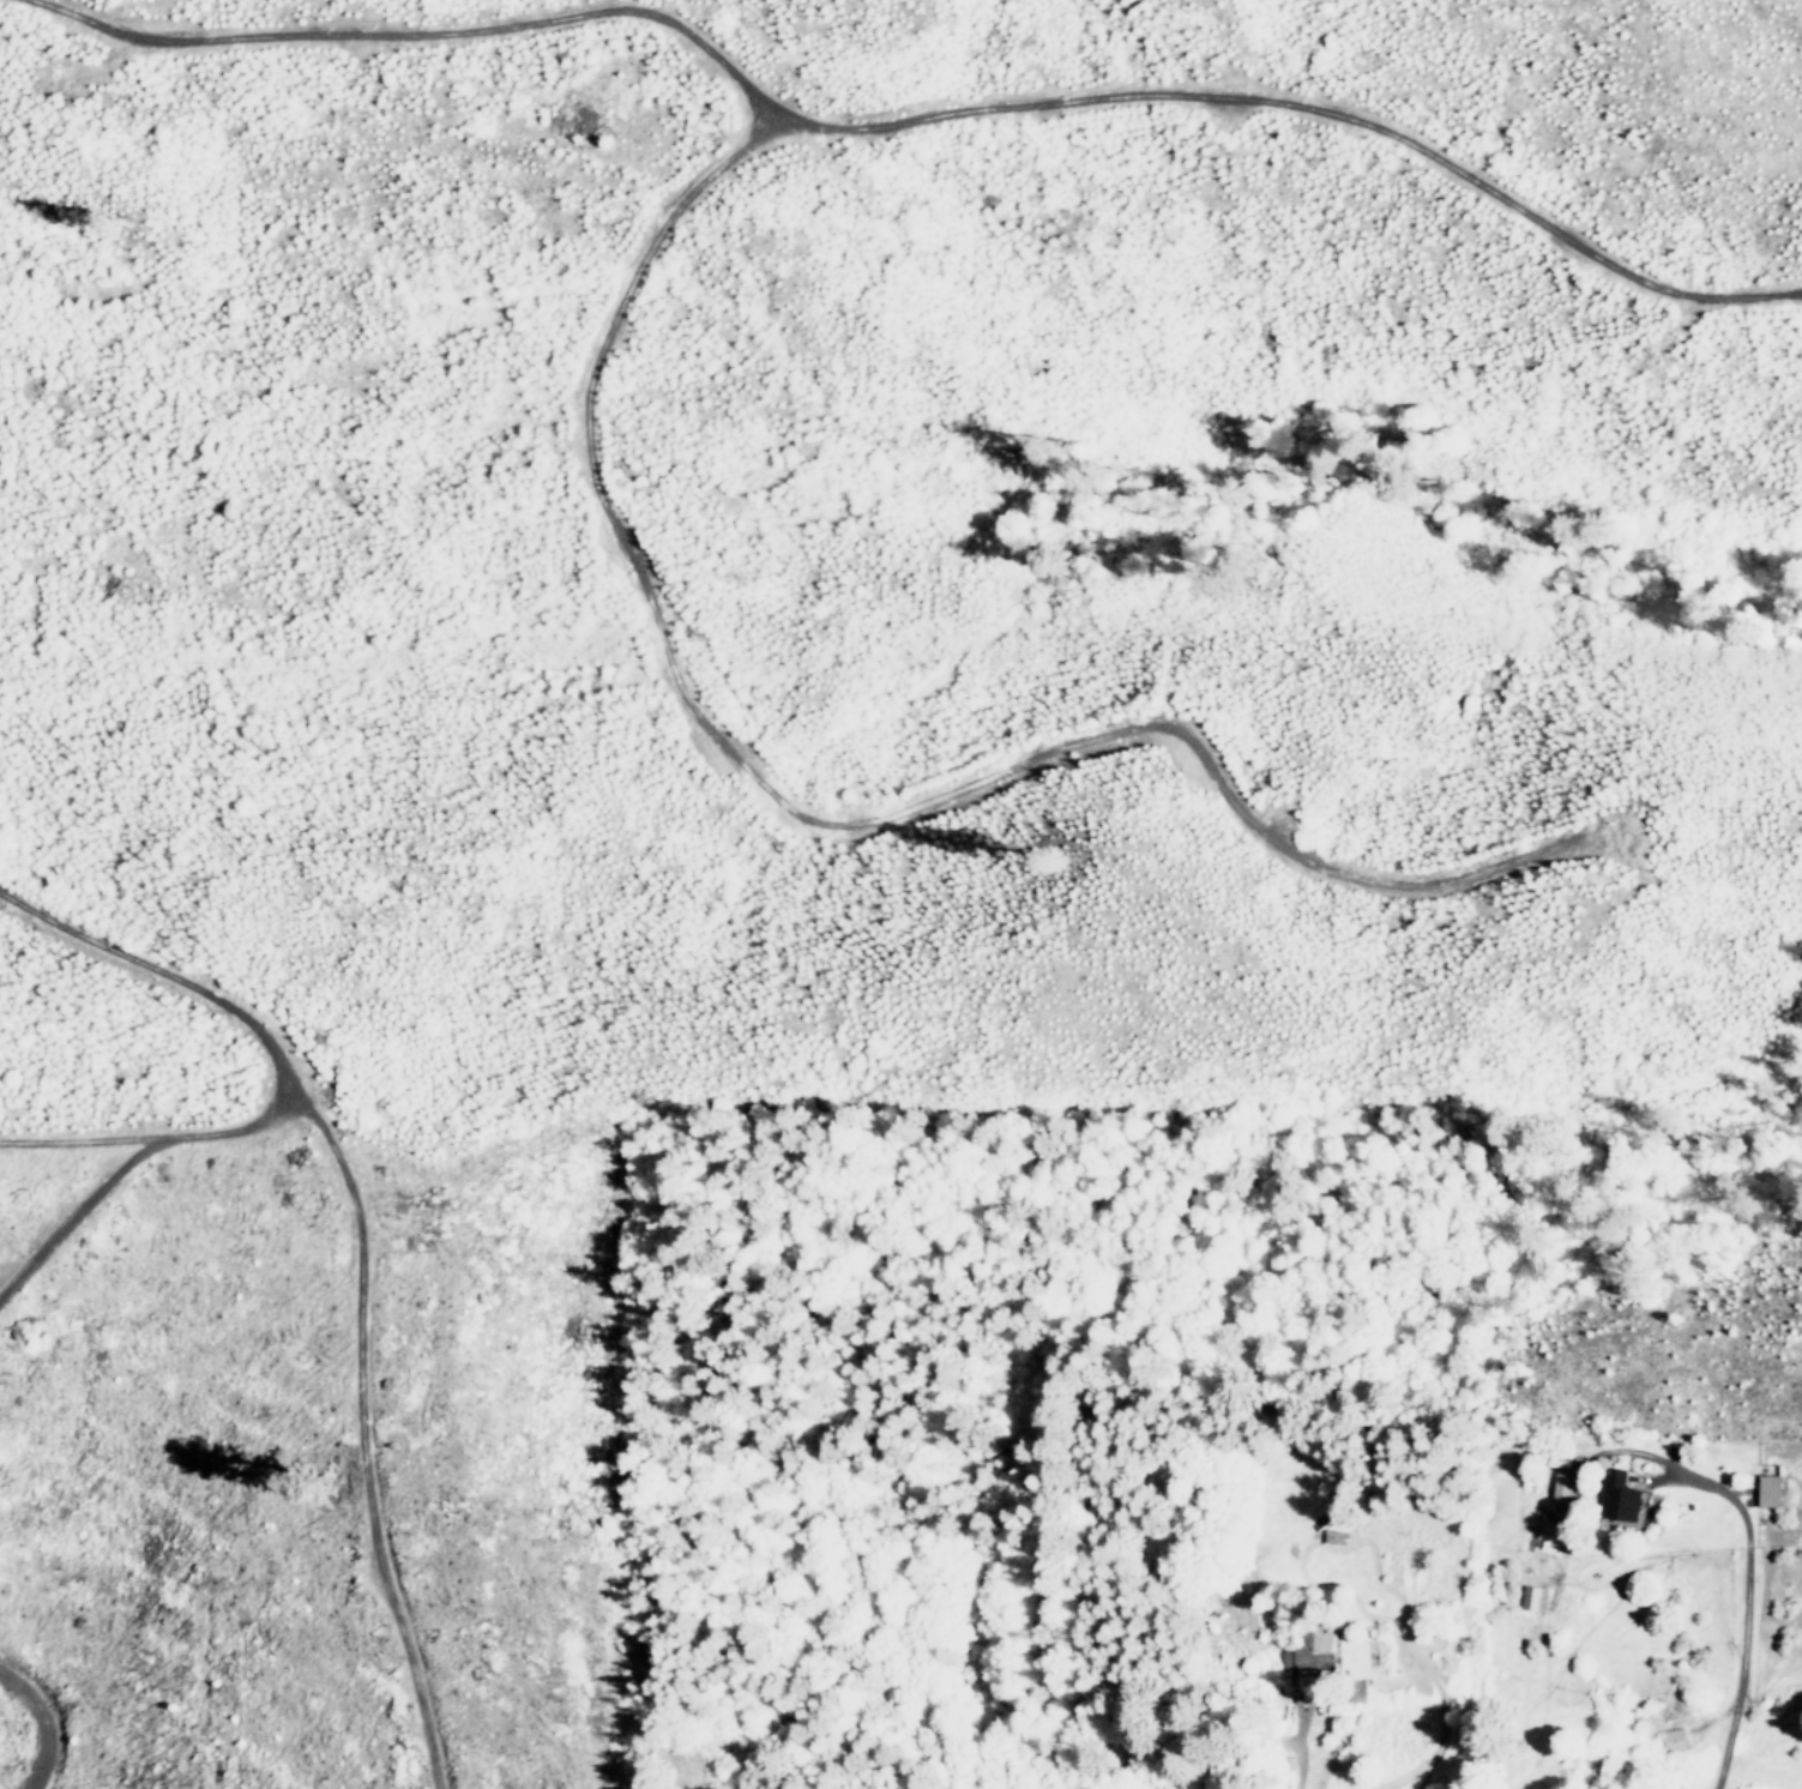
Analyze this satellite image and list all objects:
building: (1562, 1488)
building: (1772, 1489)
building: (1626, 1495)
building: (1536, 1597)
road: (1746, 1601)
building: (1314, 1651)
building: (1676, 1737)
road: (1297, 1746)

